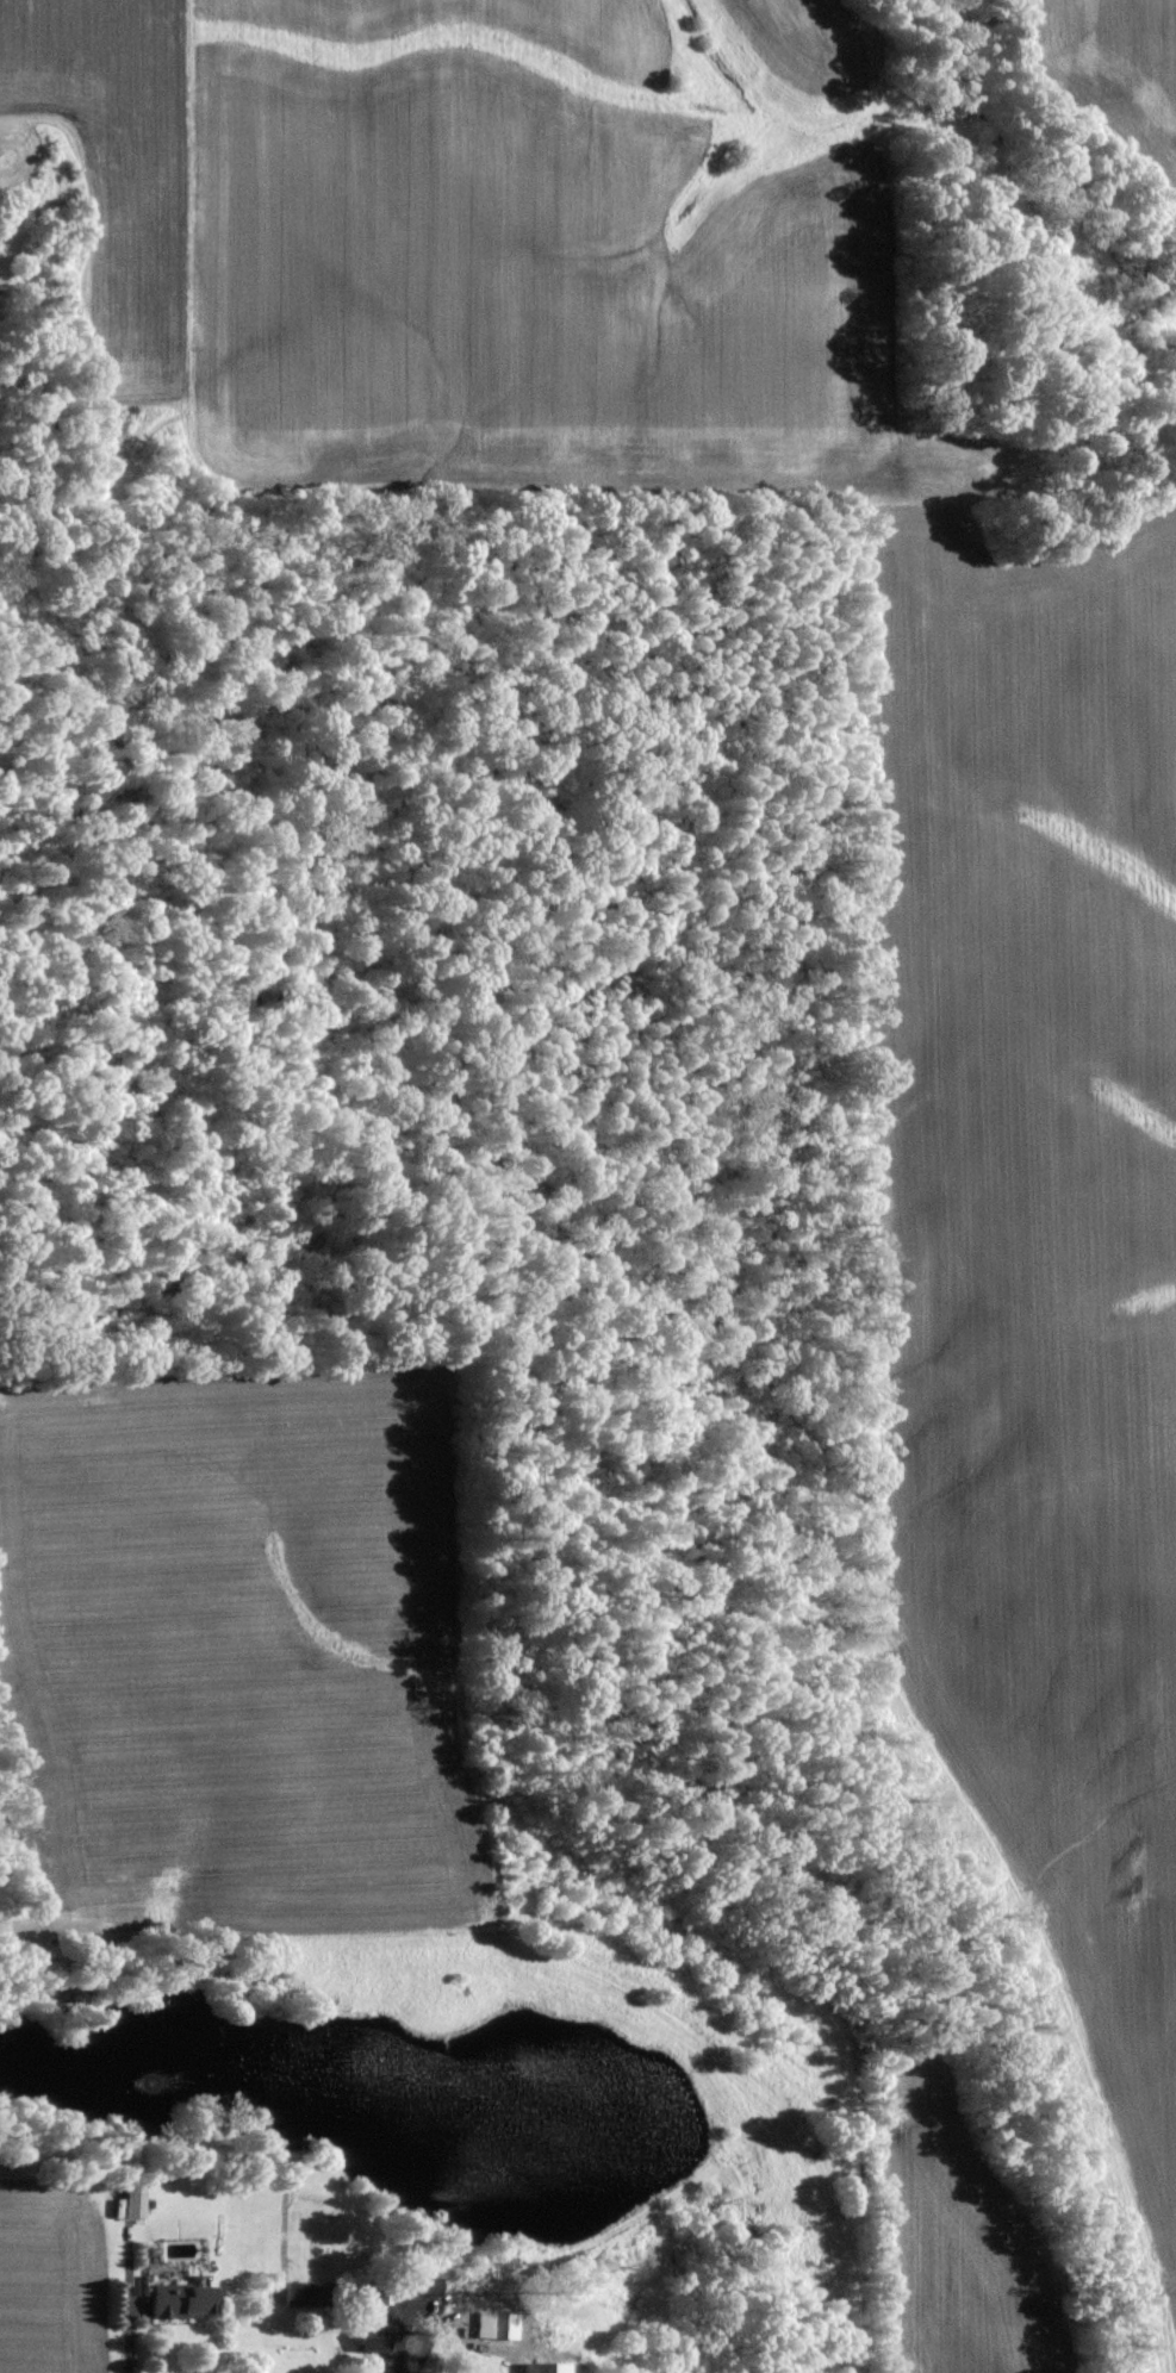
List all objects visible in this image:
road: (45, 1932)
building: (132, 2215)
building: (147, 2216)
building: (425, 2288)
building: (303, 2296)
building: (418, 2299)
building: (180, 2313)
road: (126, 2323)
building: (369, 2335)
building: (492, 2337)
road: (398, 2354)
building: (546, 2368)

